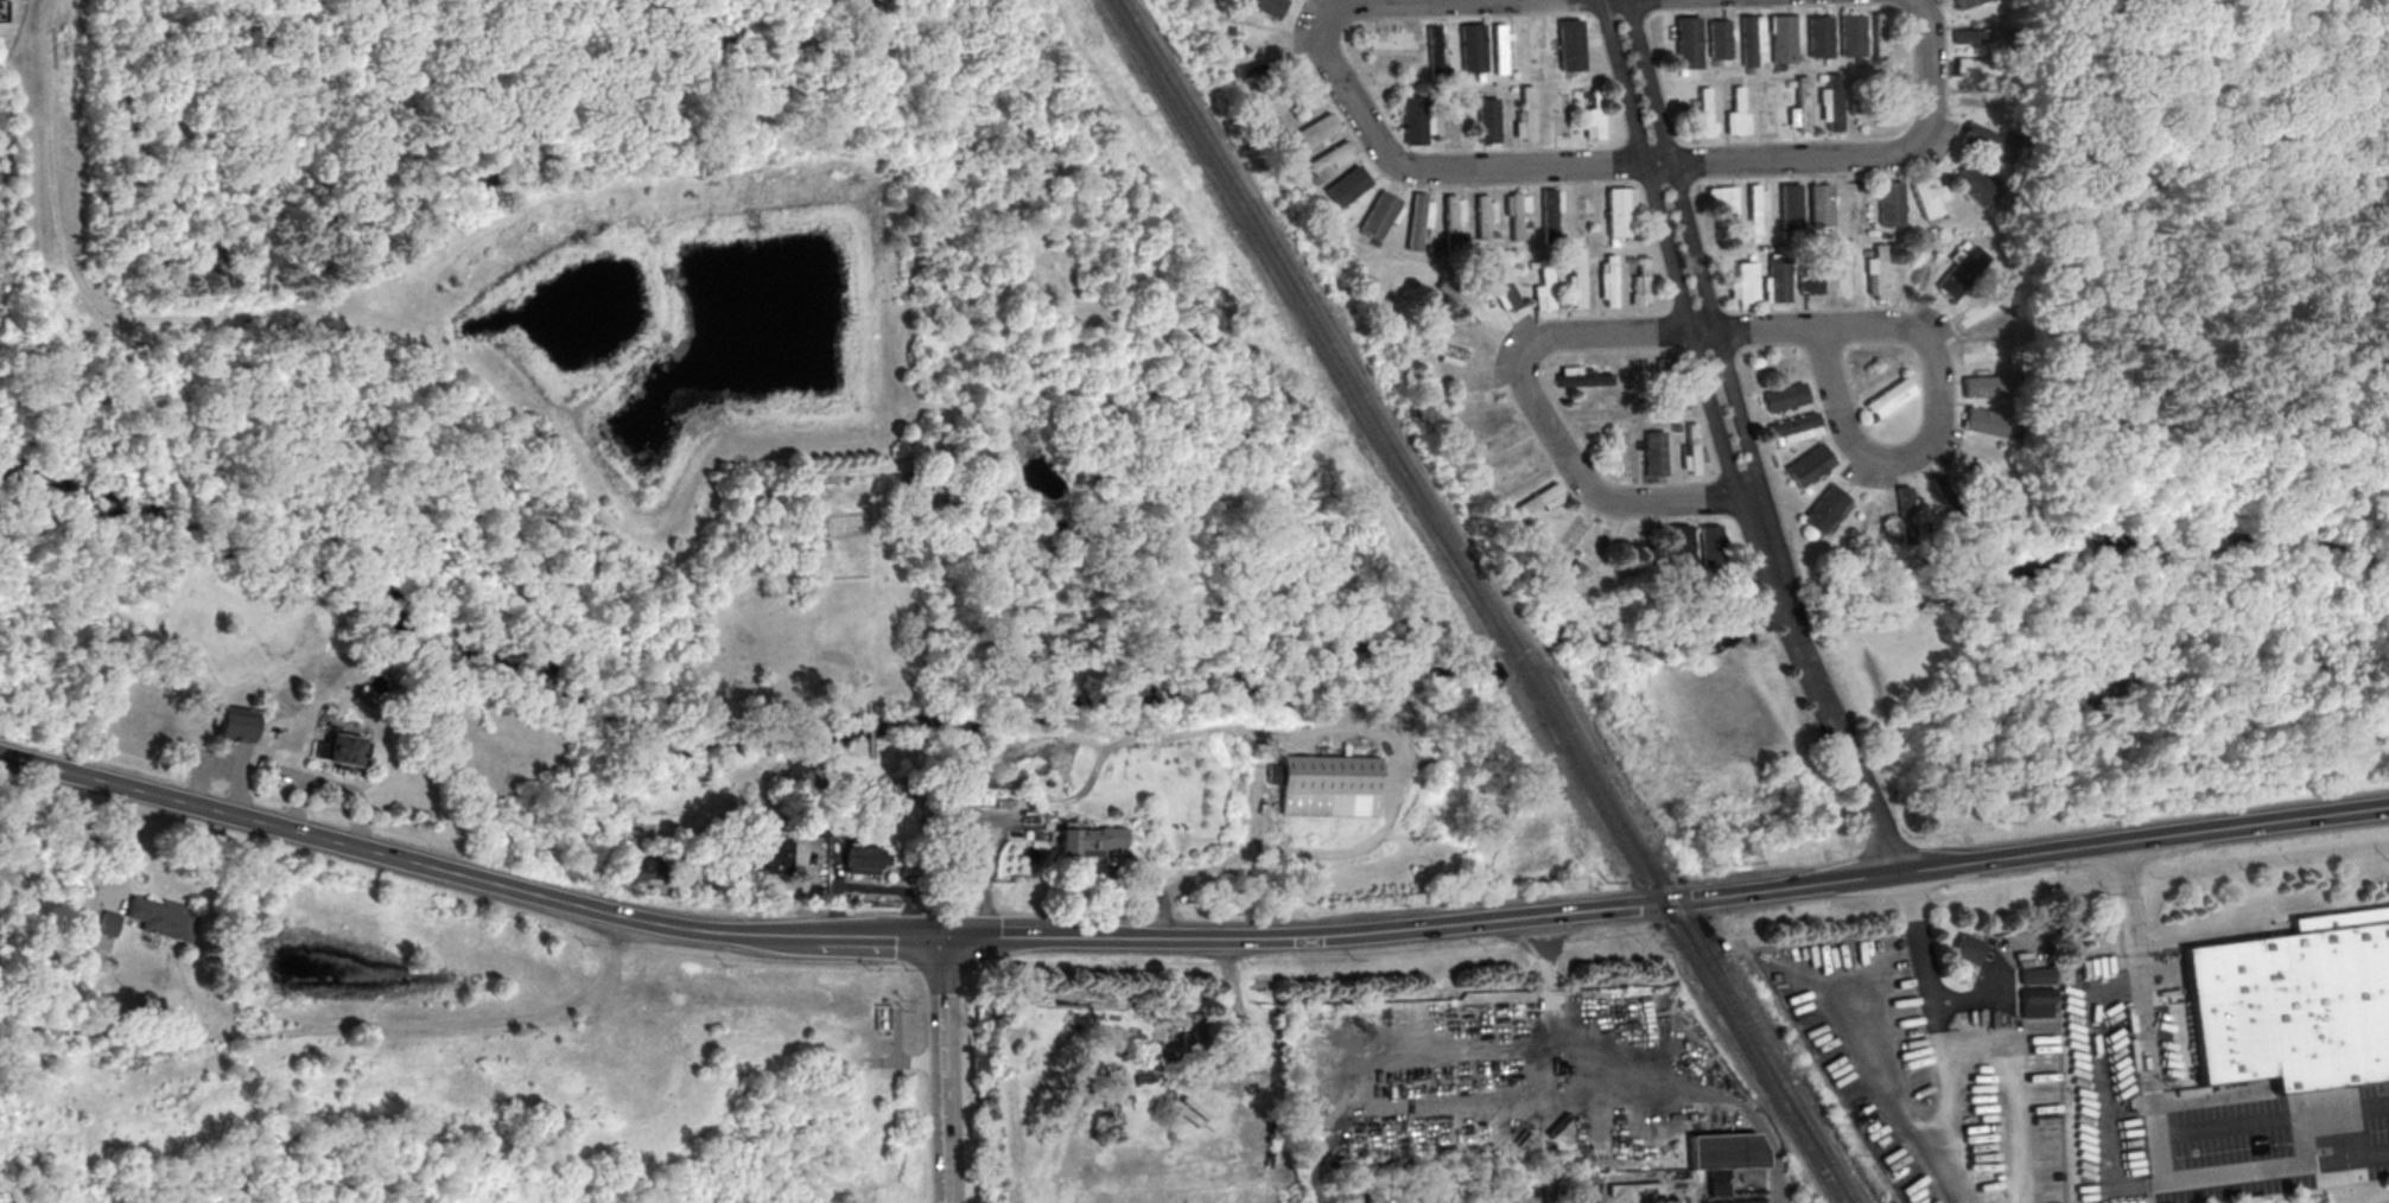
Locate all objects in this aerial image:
building: (1267, 6)
building: (2385, 21)
building: (1239, 30)
building: (1851, 33)
building: (1880, 36)
building: (1971, 36)
building: (1819, 37)
building: (1751, 38)
building: (1720, 39)
building: (1783, 39)
building: (1394, 42)
building: (1688, 42)
building: (1565, 44)
building: (1472, 47)
building: (1532, 47)
building: (1432, 49)
building: (1499, 49)
building: (1970, 66)
building: (1262, 68)
building: (1390, 76)
building: (1877, 76)
building: (1832, 102)
building: (1800, 107)
building: (1875, 110)
building: (1704, 112)
building: (1736, 113)
building: (1594, 115)
building: (1524, 116)
building: (1413, 120)
building: (1486, 120)
building: (1314, 131)
building: (1987, 142)
road: (1394, 154)
road: (1863, 160)
building: (1975, 185)
building: (1345, 186)
building: (1929, 198)
building: (1891, 203)
building: (1724, 205)
building: (1821, 205)
building: (1755, 206)
building: (1791, 206)
building: (1582, 211)
building: (1620, 211)
building: (1550, 212)
building: (1380, 215)
building: (1516, 216)
building: (1483, 217)
building: (1417, 218)
building: (1451, 219)
road: (1702, 252)
road: (1673, 256)
building: (1962, 272)
building: (1877, 273)
building: (1811, 278)
building: (1576, 279)
building: (1777, 279)
building: (1847, 279)
building: (1607, 280)
building: (1640, 280)
building: (1745, 282)
building: (1501, 285)
building: (1544, 287)
building: (1459, 301)
building: (1982, 311)
road: (1765, 333)
road: (1932, 342)
building: (1442, 351)
building: (1984, 352)
building: (1666, 369)
building: (1581, 377)
building: (1985, 386)
building: (1475, 395)
building: (1786, 397)
building: (1891, 397)
building: (1984, 421)
road: (1556, 426)
building: (1794, 428)
building: (1691, 450)
building: (1653, 453)
building: (1807, 465)
building: (1517, 470)
building: (1988, 479)
building: (1540, 499)
building: (1902, 511)
building: (1640, 543)
building: (1709, 545)
building: (1677, 546)
railway: (1475, 600)
railway: (1491, 600)
building: (120, 686)
road: (1816, 692)
building: (233, 724)
building: (339, 749)
building: (1328, 787)
road: (144, 794)
building: (1088, 842)
road: (131, 854)
building: (769, 855)
building: (863, 861)
road: (1717, 895)
road: (609, 914)
building: (163, 919)
building: (108, 924)
traffic signals: (940, 937)
road: (992, 937)
road: (1913, 941)
building: (1967, 949)
building: (2035, 992)
building: (2294, 1002)
road: (942, 1007)
road: (1558, 1017)
building: (1188, 1038)
road: (946, 1097)
road: (2155, 1125)
road: (2273, 1126)
building: (1723, 1156)
road: (948, 1160)
building: (1633, 1190)

